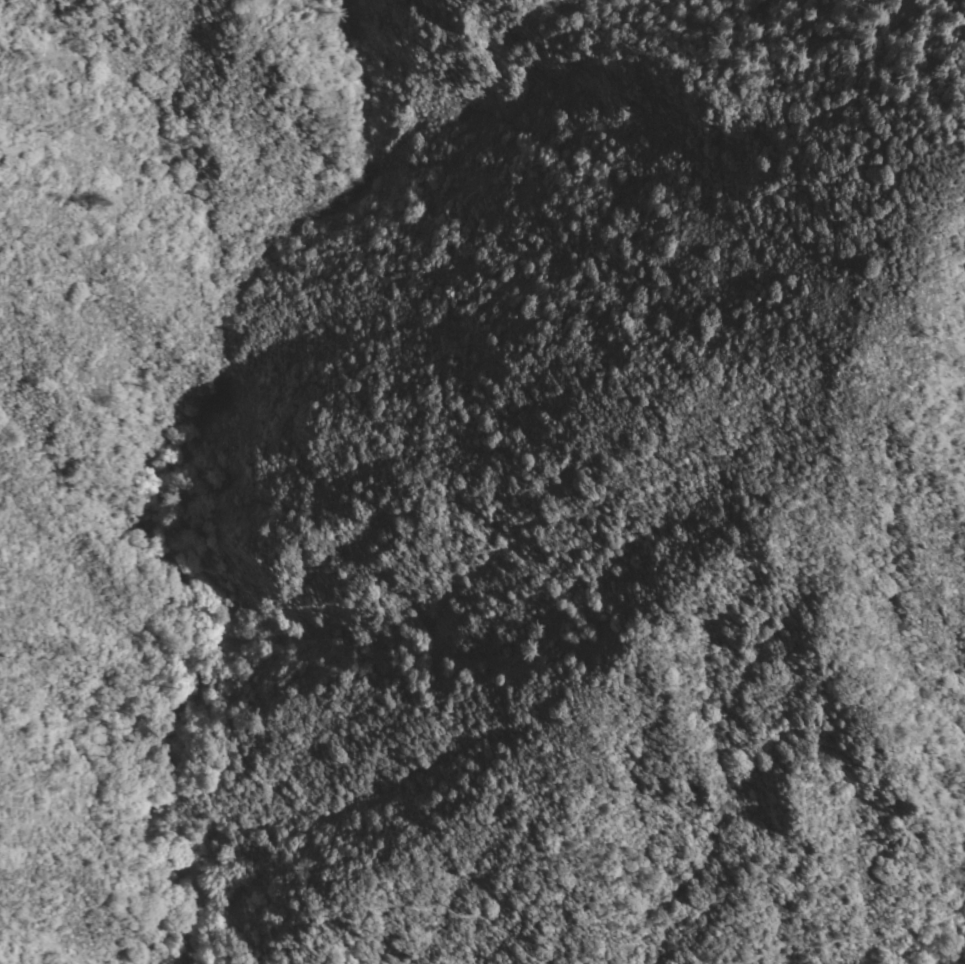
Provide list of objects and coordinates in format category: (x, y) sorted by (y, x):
road: (226, 674)
road: (661, 942)
road: (855, 944)

